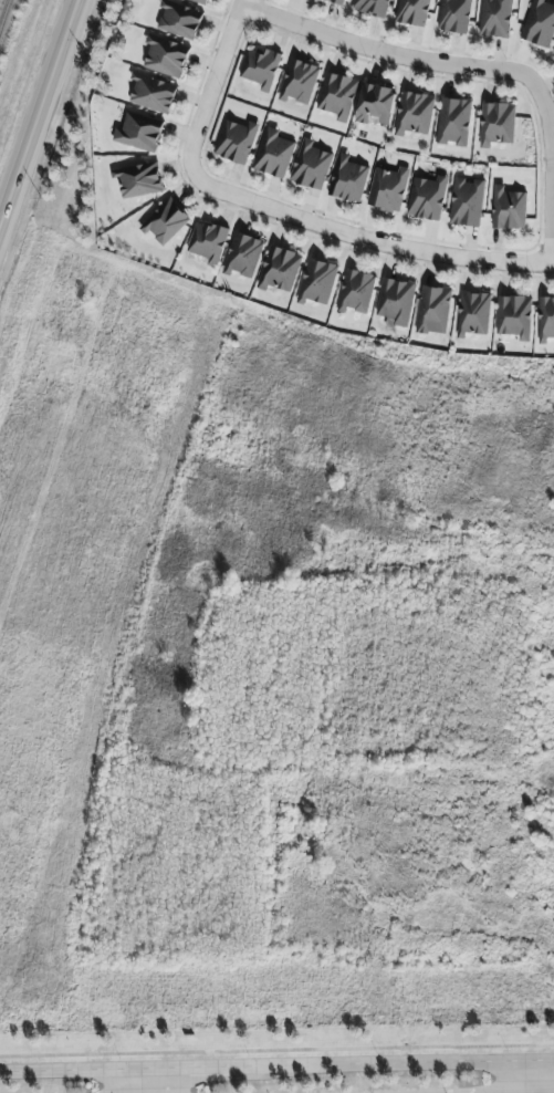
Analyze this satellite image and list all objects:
building: (200, 1)
building: (337, 1)
building: (372, 7)
building: (412, 11)
railway: (3, 12)
building: (454, 15)
building: (495, 18)
building: (179, 19)
building: (540, 22)
building: (553, 51)
road: (387, 54)
building: (166, 55)
building: (260, 67)
building: (299, 81)
road: (212, 84)
building: (153, 93)
building: (337, 95)
building: (375, 103)
road: (38, 111)
building: (414, 113)
building: (453, 121)
building: (496, 123)
building: (139, 132)
building: (236, 140)
building: (273, 153)
building: (311, 165)
road: (552, 173)
building: (347, 179)
building: (138, 180)
building: (388, 188)
building: (427, 197)
building: (467, 201)
building: (509, 208)
building: (166, 221)
road: (364, 239)
building: (207, 241)
building: (242, 254)
building: (279, 269)
building: (317, 281)
building: (355, 291)
building: (395, 300)
building: (433, 310)
building: (473, 313)
building: (514, 315)
building: (545, 319)
road: (548, 1060)
road: (391, 1064)
road: (191, 1069)
road: (71, 1071)
road: (542, 1076)
road: (143, 1081)

